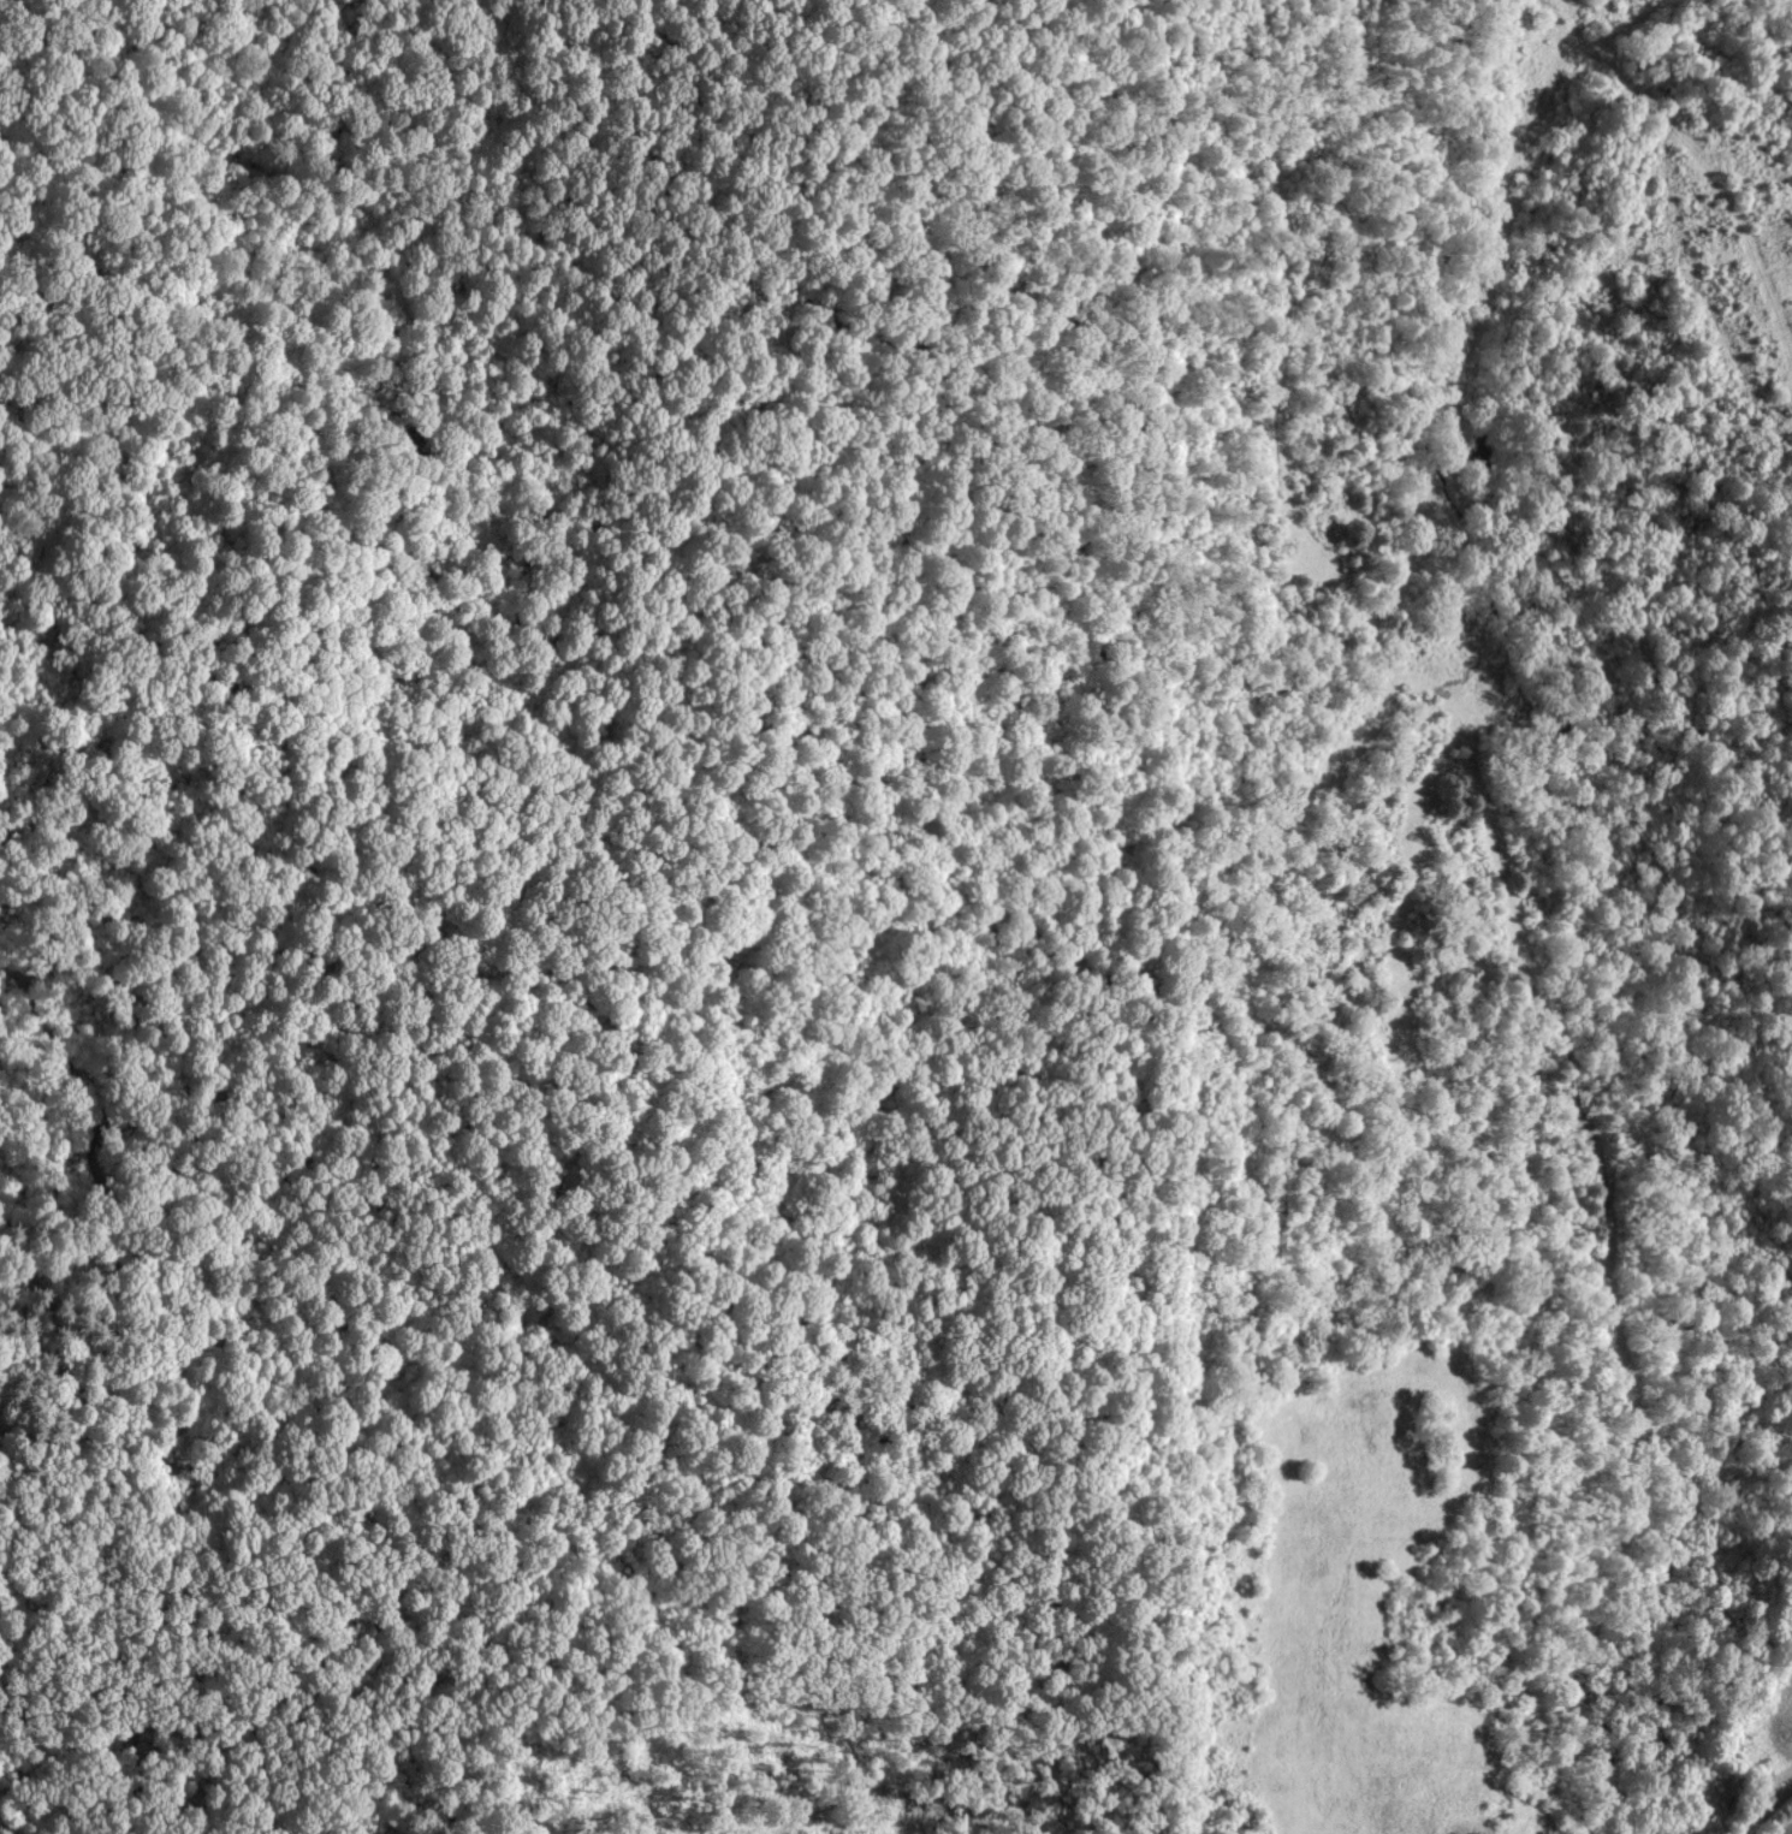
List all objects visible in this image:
road: (1768, 1810)

